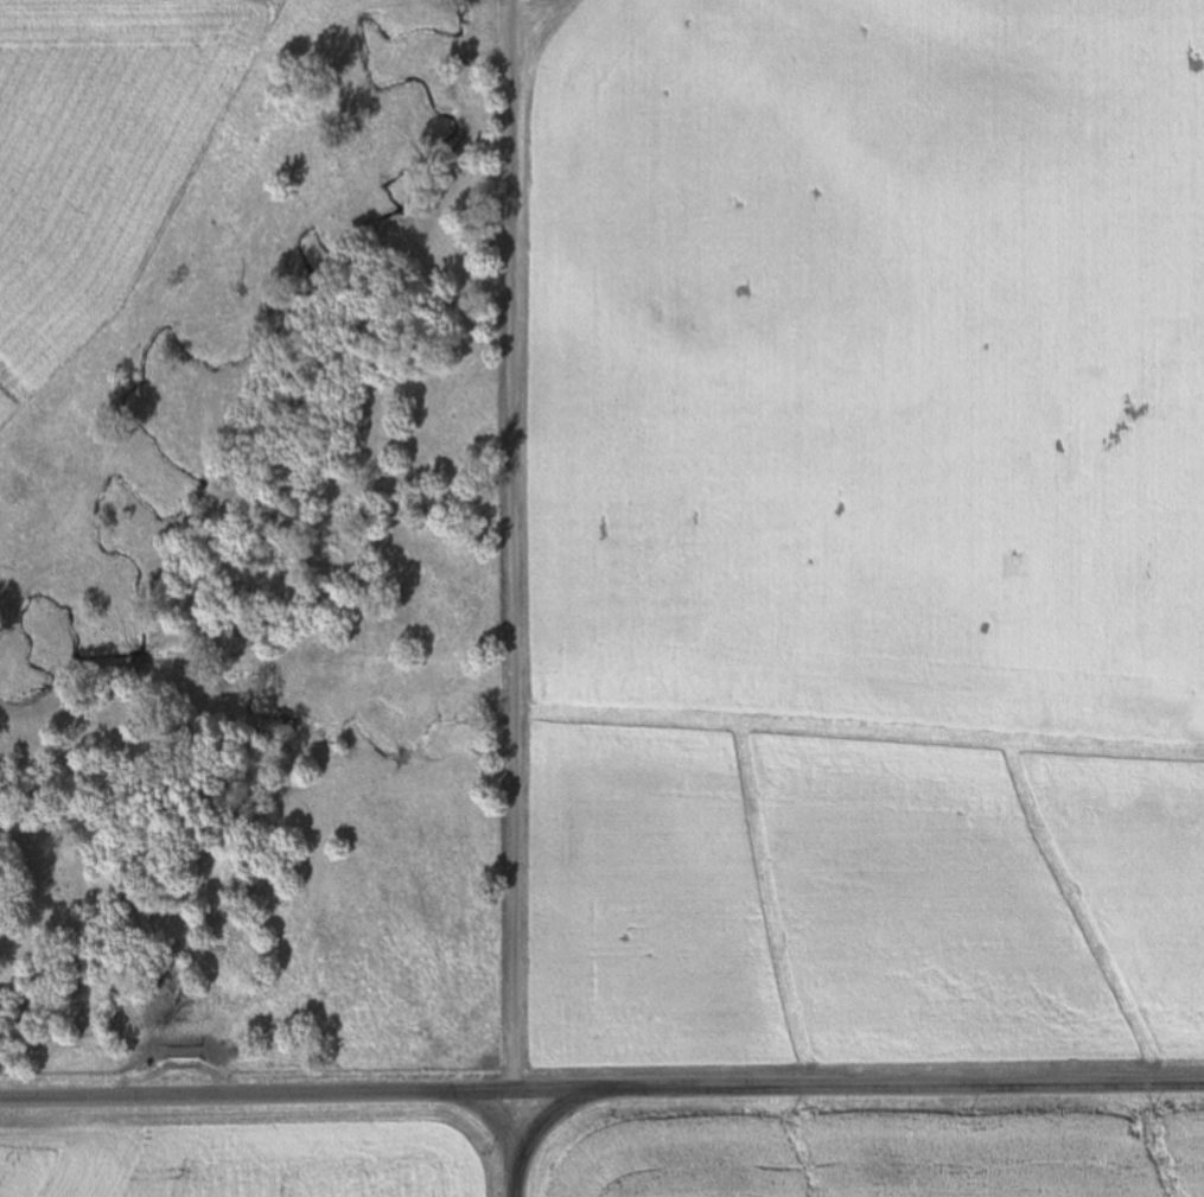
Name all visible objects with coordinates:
road: (601, 1091)
road: (516, 1145)

